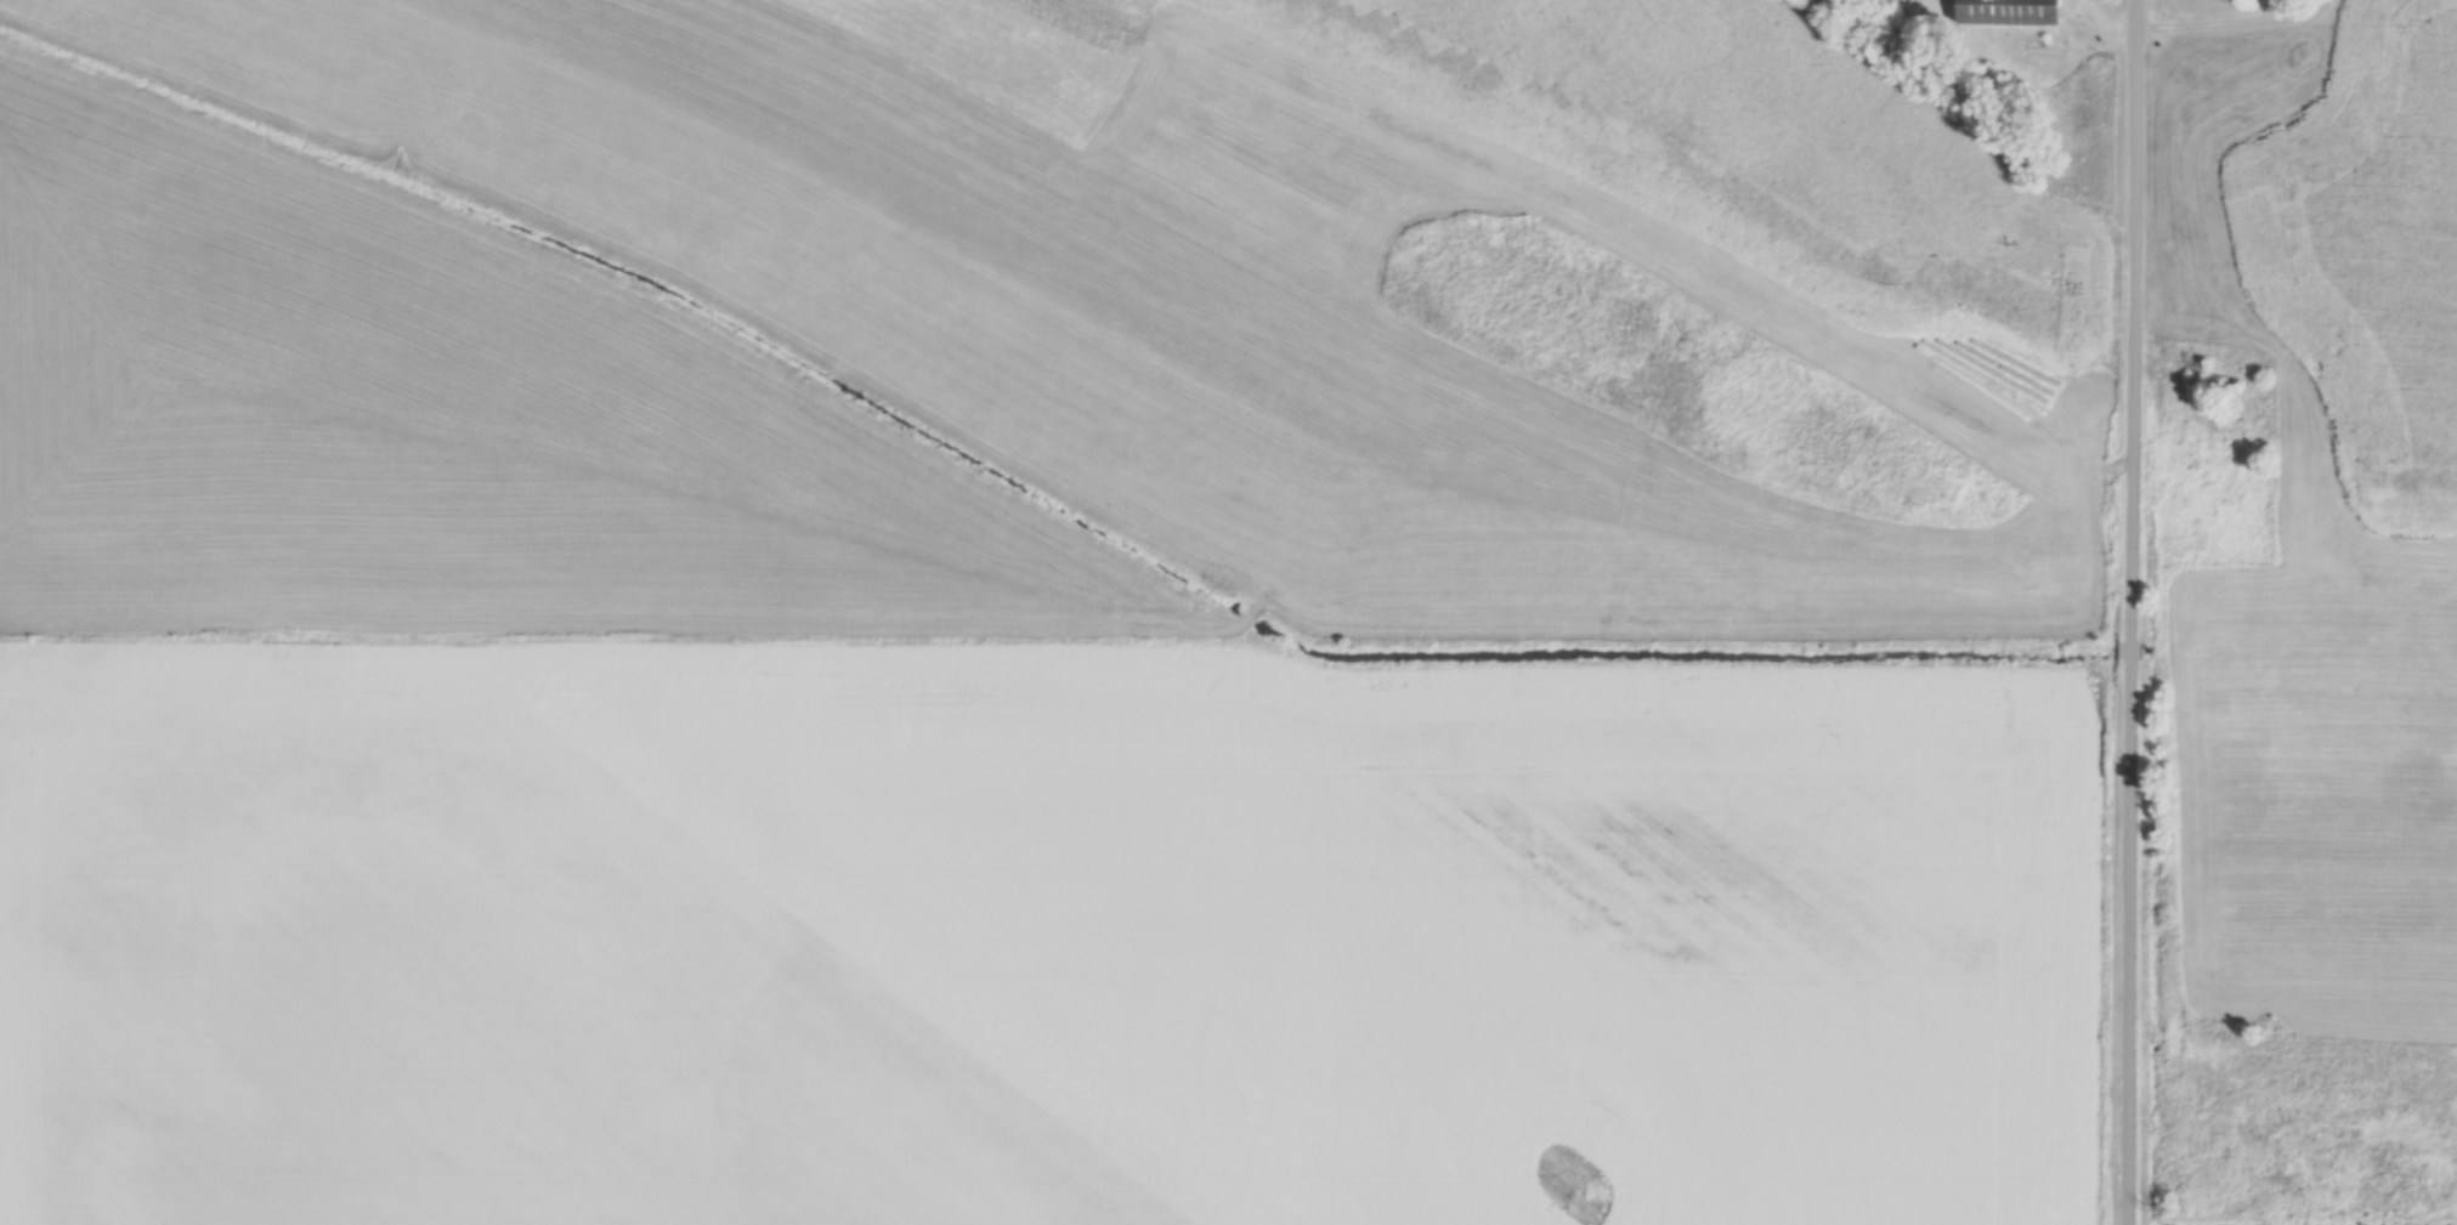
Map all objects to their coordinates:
building: (2006, 12)
road: (2130, 321)
building: (2230, 386)
road: (2128, 651)
road: (2127, 942)

